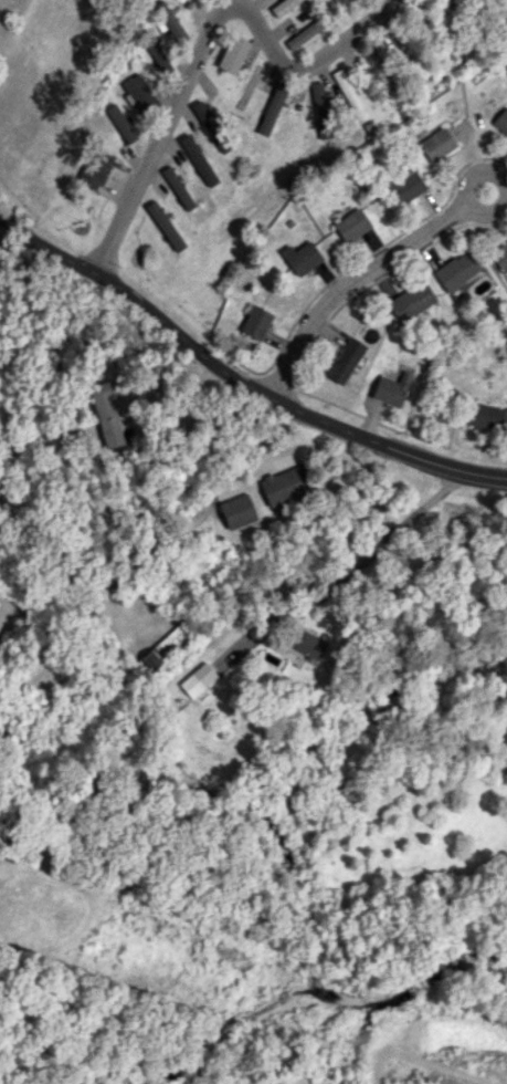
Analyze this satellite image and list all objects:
building: (331, 0)
building: (170, 21)
building: (304, 34)
building: (233, 53)
road: (319, 73)
building: (138, 91)
building: (349, 94)
building: (272, 108)
building: (320, 112)
building: (500, 122)
building: (120, 123)
building: (211, 126)
road: (155, 135)
building: (437, 144)
building: (198, 159)
building: (93, 169)
road: (466, 179)
building: (178, 186)
building: (405, 186)
building: (351, 225)
building: (165, 226)
building: (302, 257)
building: (500, 257)
building: (456, 270)
road: (352, 283)
building: (411, 301)
building: (255, 322)
building: (345, 359)
road: (236, 378)
building: (391, 388)
road: (187, 406)
building: (106, 414)
building: (486, 416)
building: (286, 483)
road: (208, 504)
building: (237, 511)
road: (368, 553)
building: (173, 639)
building: (307, 643)
building: (197, 679)
road: (456, 747)

